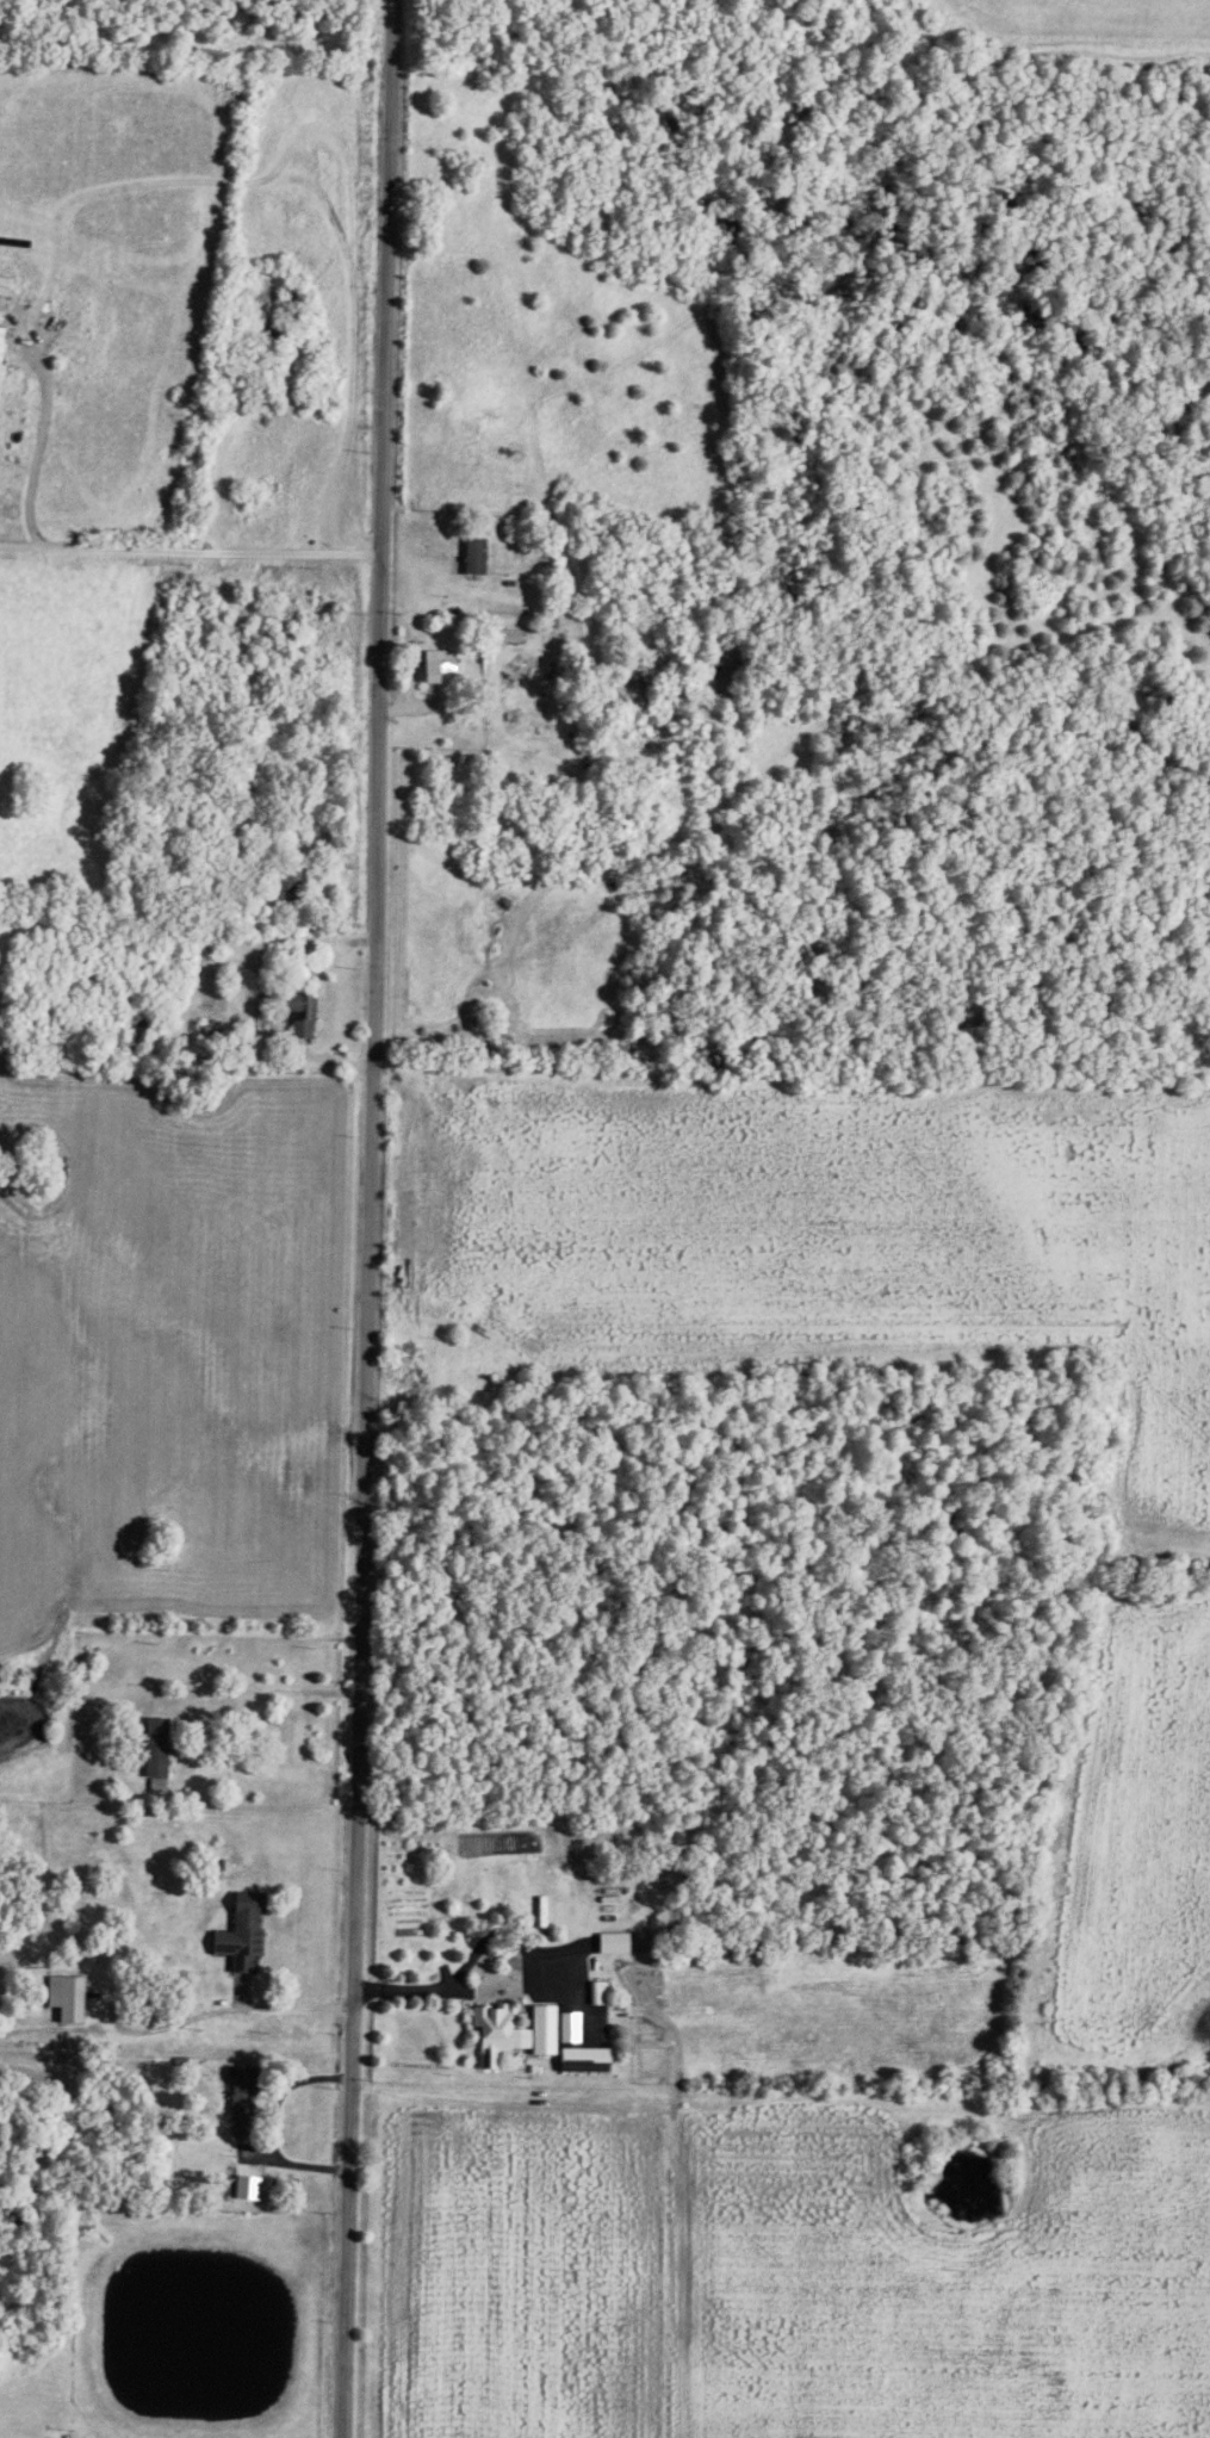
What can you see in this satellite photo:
road: (33, 453)
road: (191, 547)
building: (471, 558)
building: (507, 637)
building: (435, 668)
building: (283, 883)
road: (260, 942)
road: (216, 978)
building: (247, 978)
building: (297, 1013)
road: (371, 1218)
road: (297, 1691)
building: (153, 1749)
building: (240, 1936)
road: (485, 1995)
building: (61, 1999)
road: (223, 2012)
building: (540, 2033)
building: (492, 2034)
building: (581, 2061)
building: (241, 2104)

